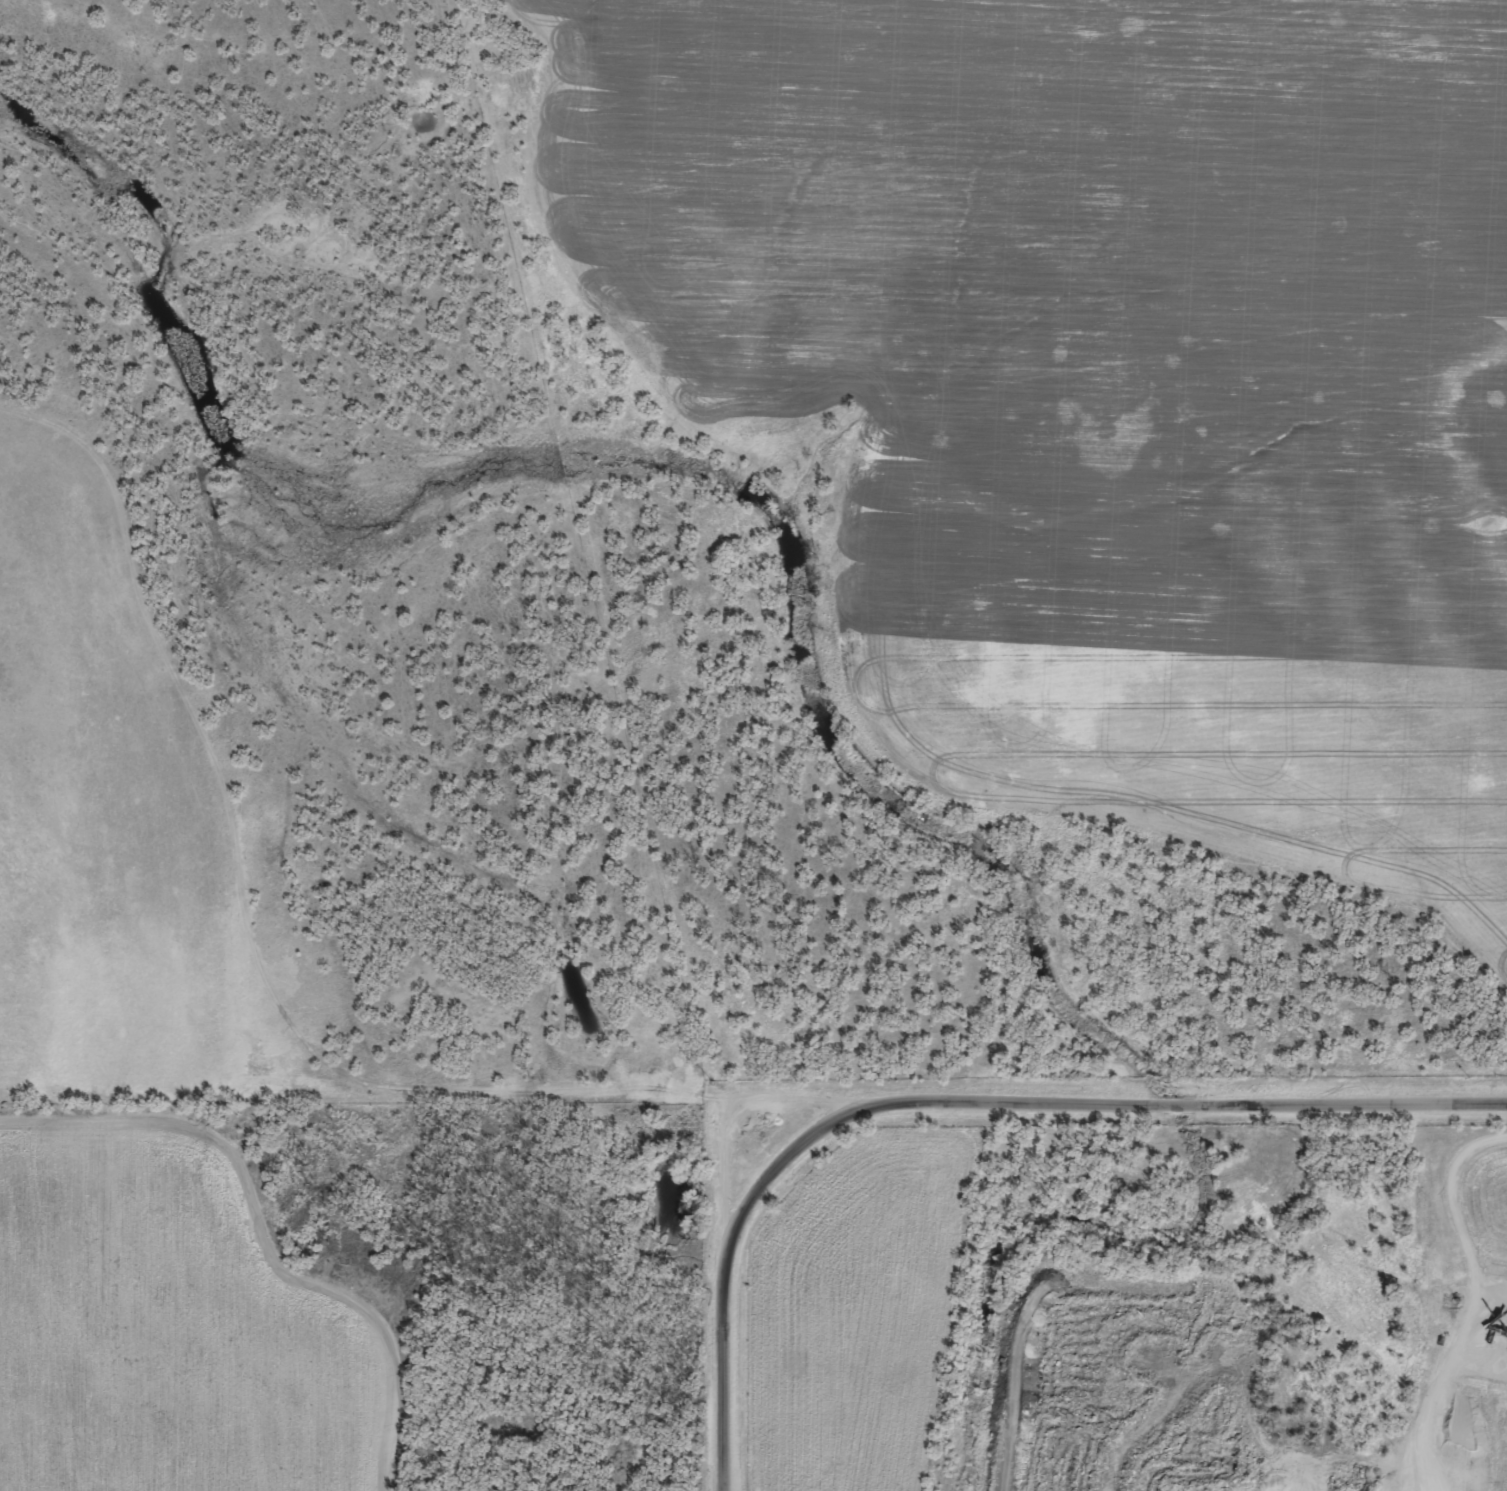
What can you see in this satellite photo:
road: (258, 953)
road: (967, 1103)

